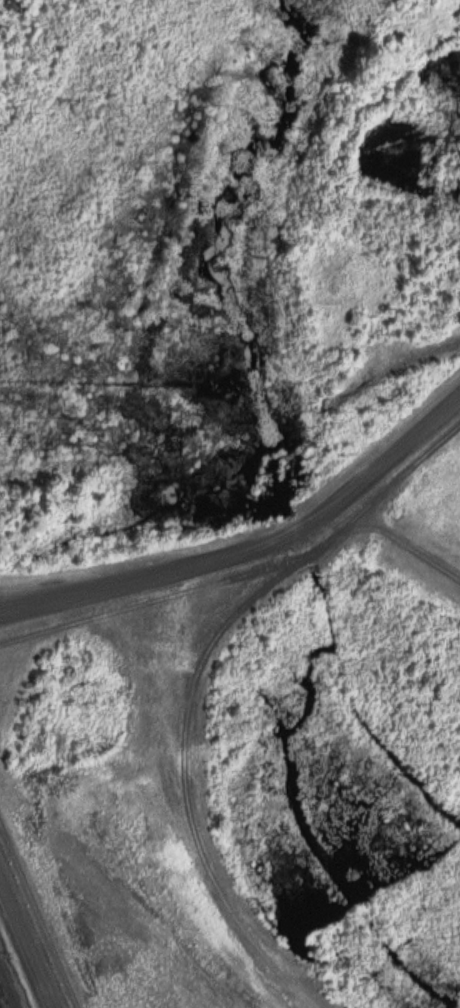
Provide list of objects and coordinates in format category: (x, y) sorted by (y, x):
road: (251, 543)
airport: (254, 771)
road: (26, 946)

